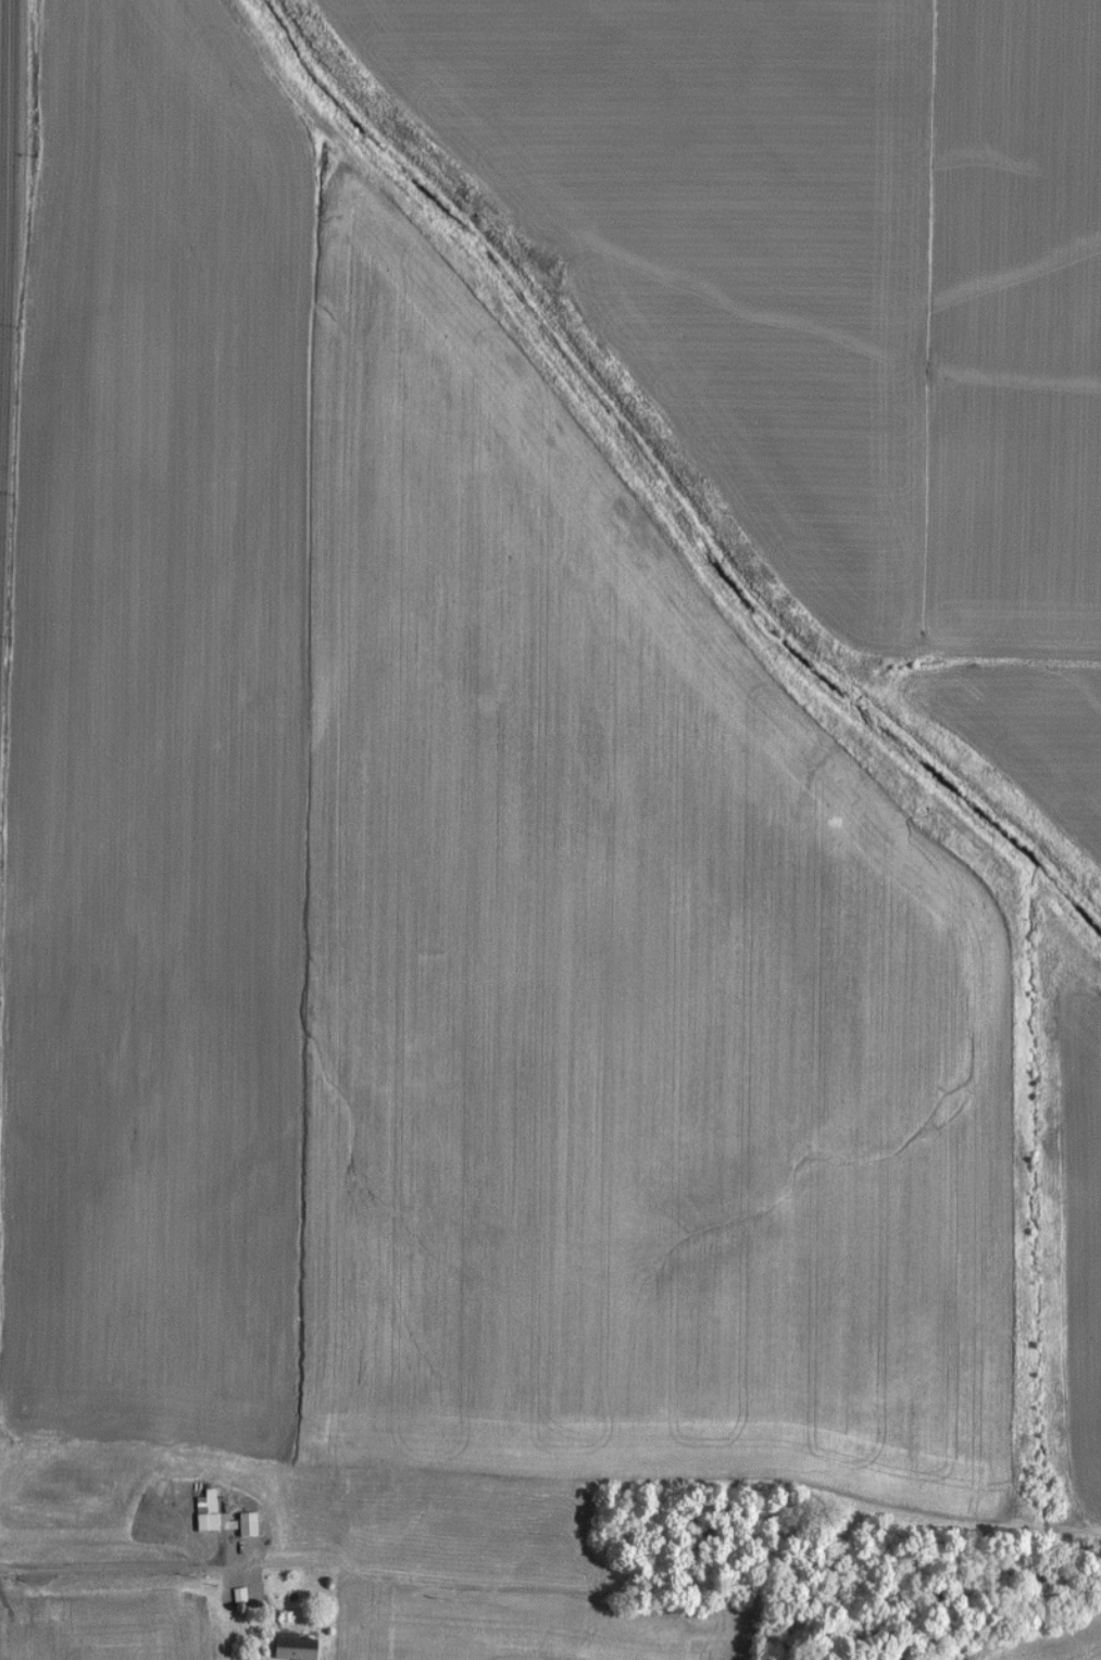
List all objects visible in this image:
road: (5, 310)
building: (141, 1505)
building: (214, 1517)
road: (115, 1567)
building: (286, 1647)

